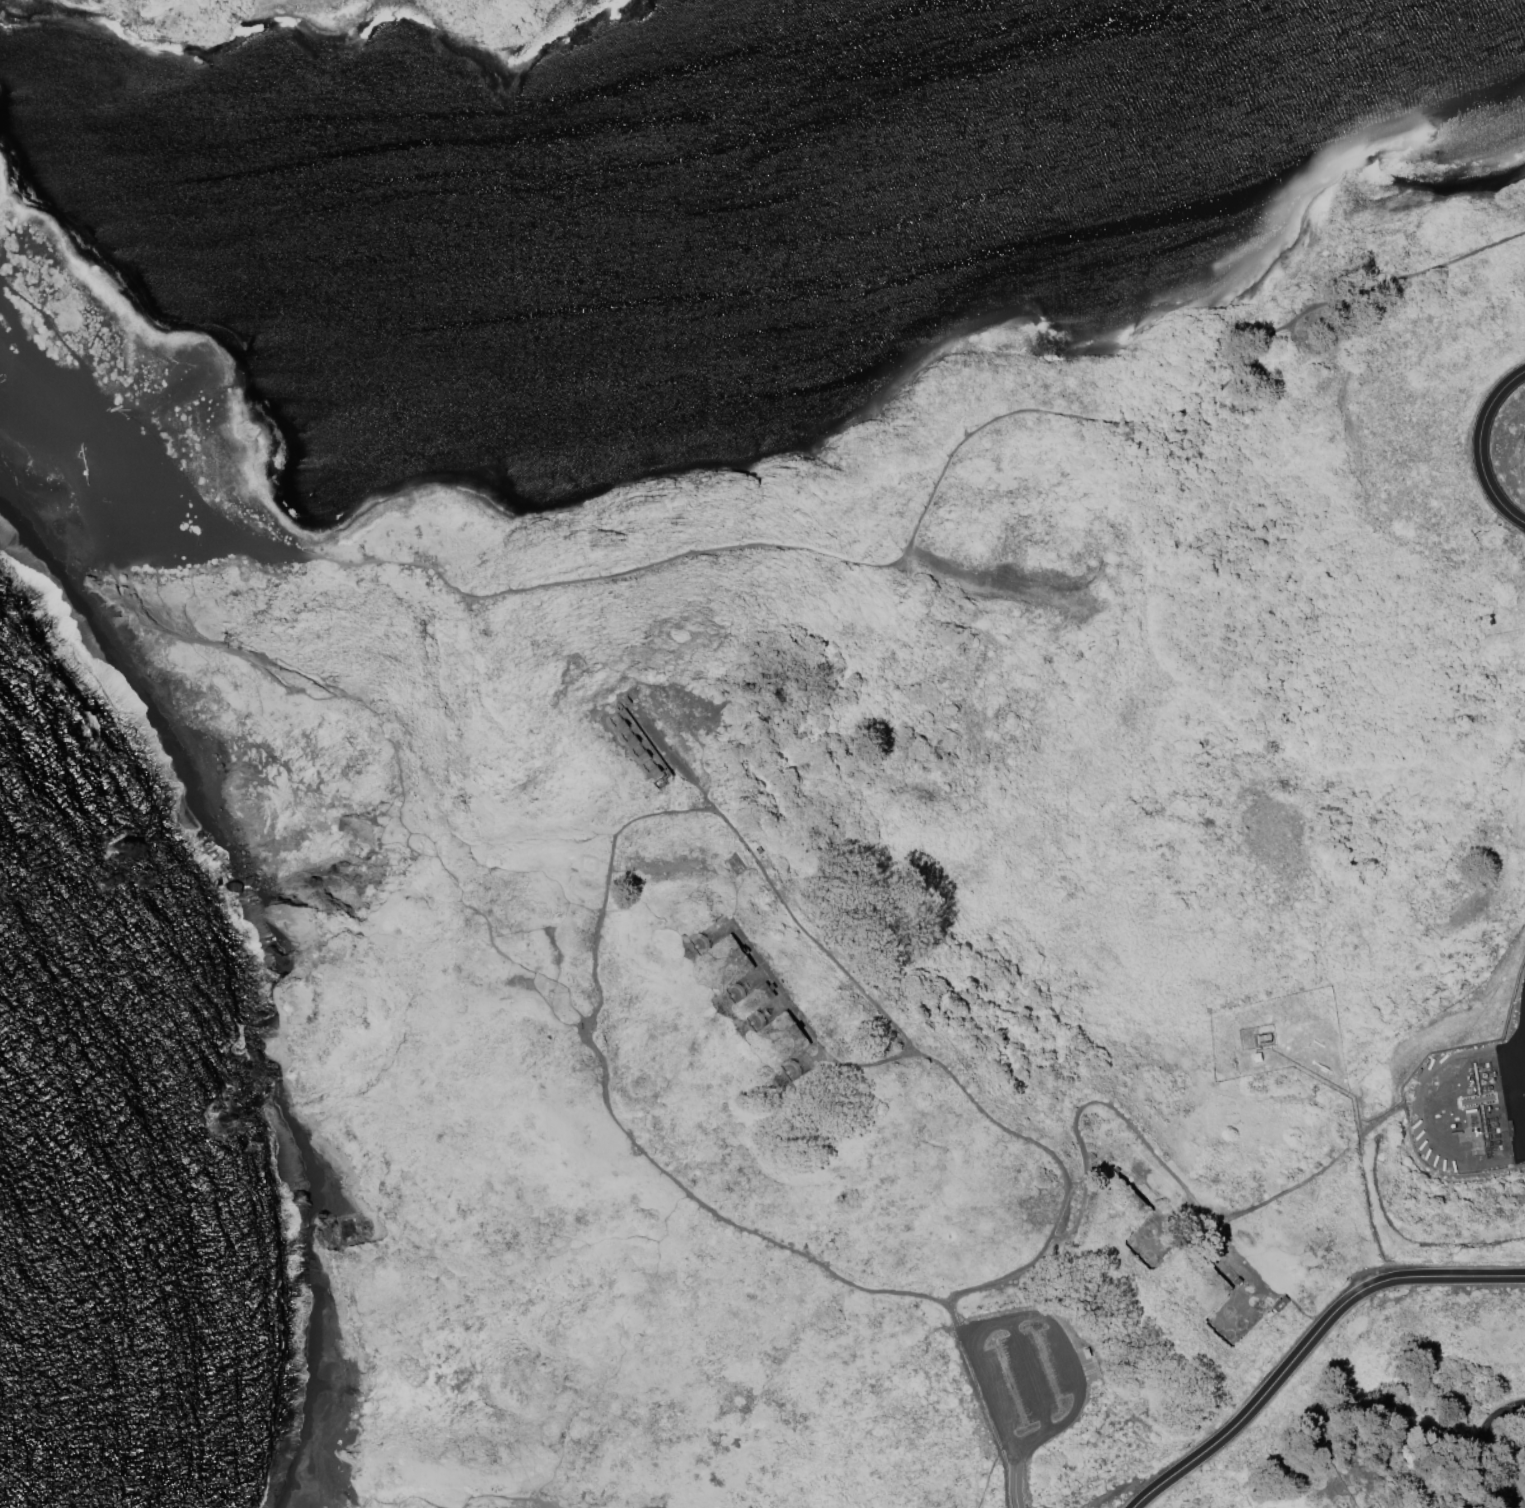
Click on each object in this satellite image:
road: (1488, 448)
road: (767, 546)
road: (585, 664)
road: (675, 708)
road: (384, 718)
building: (636, 745)
road: (674, 760)
building: (751, 1000)
road: (1416, 1087)
road: (1382, 1134)
road: (1150, 1144)
building: (1197, 1252)
road: (916, 1298)
road: (958, 1323)
road: (1309, 1344)
building: (1086, 1353)
road: (1070, 1357)
parking lot: (1028, 1371)
road: (1030, 1377)
road: (988, 1395)
road: (1479, 1446)
road: (989, 1473)
road: (1015, 1481)
road: (1126, 1489)
road: (505, 1497)
road: (395, 1502)
road: (652, 1507)

